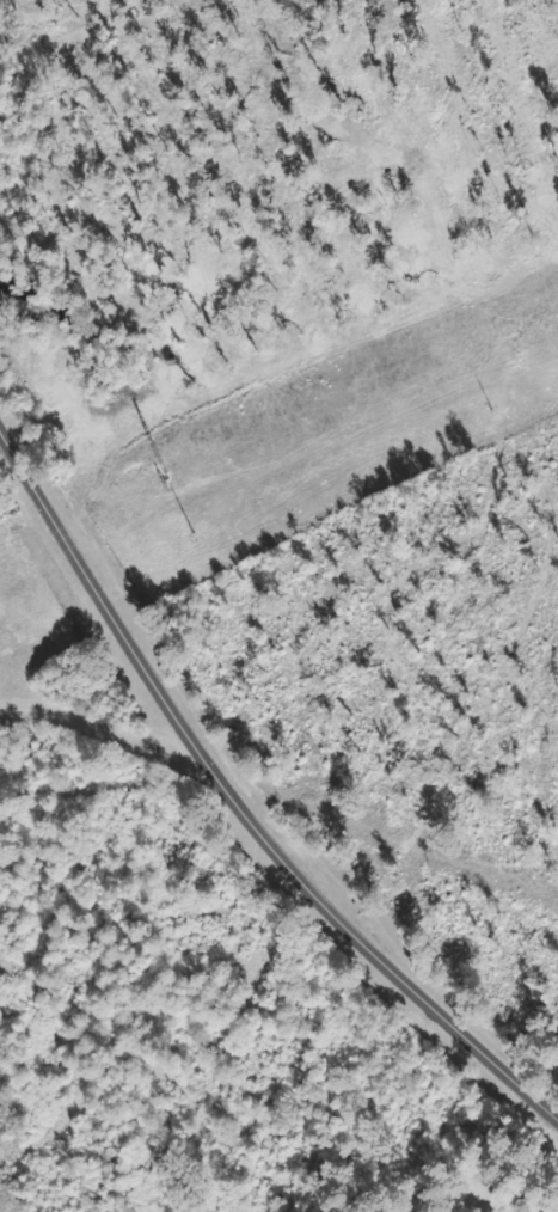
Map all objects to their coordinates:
power tower: (165, 480)
road: (239, 818)
road: (439, 1174)

